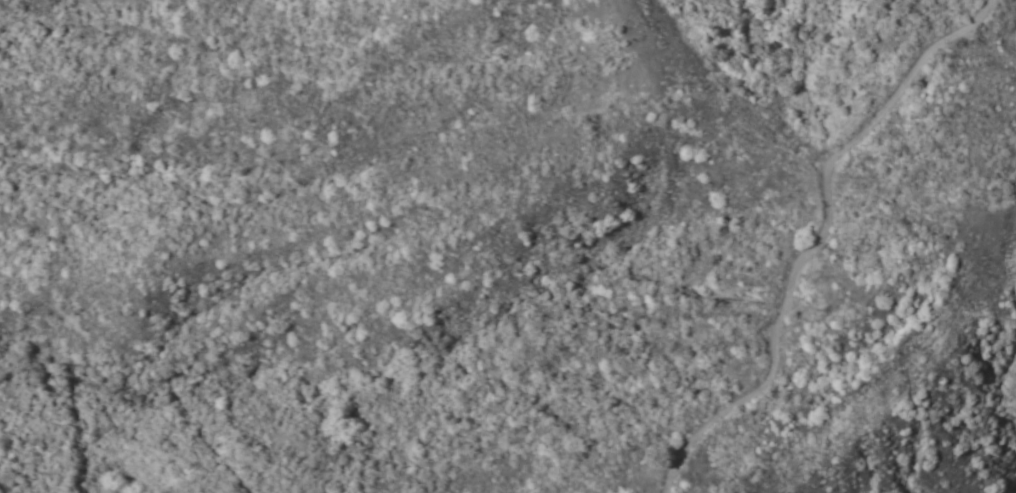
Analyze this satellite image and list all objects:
road: (818, 241)
road: (894, 379)

